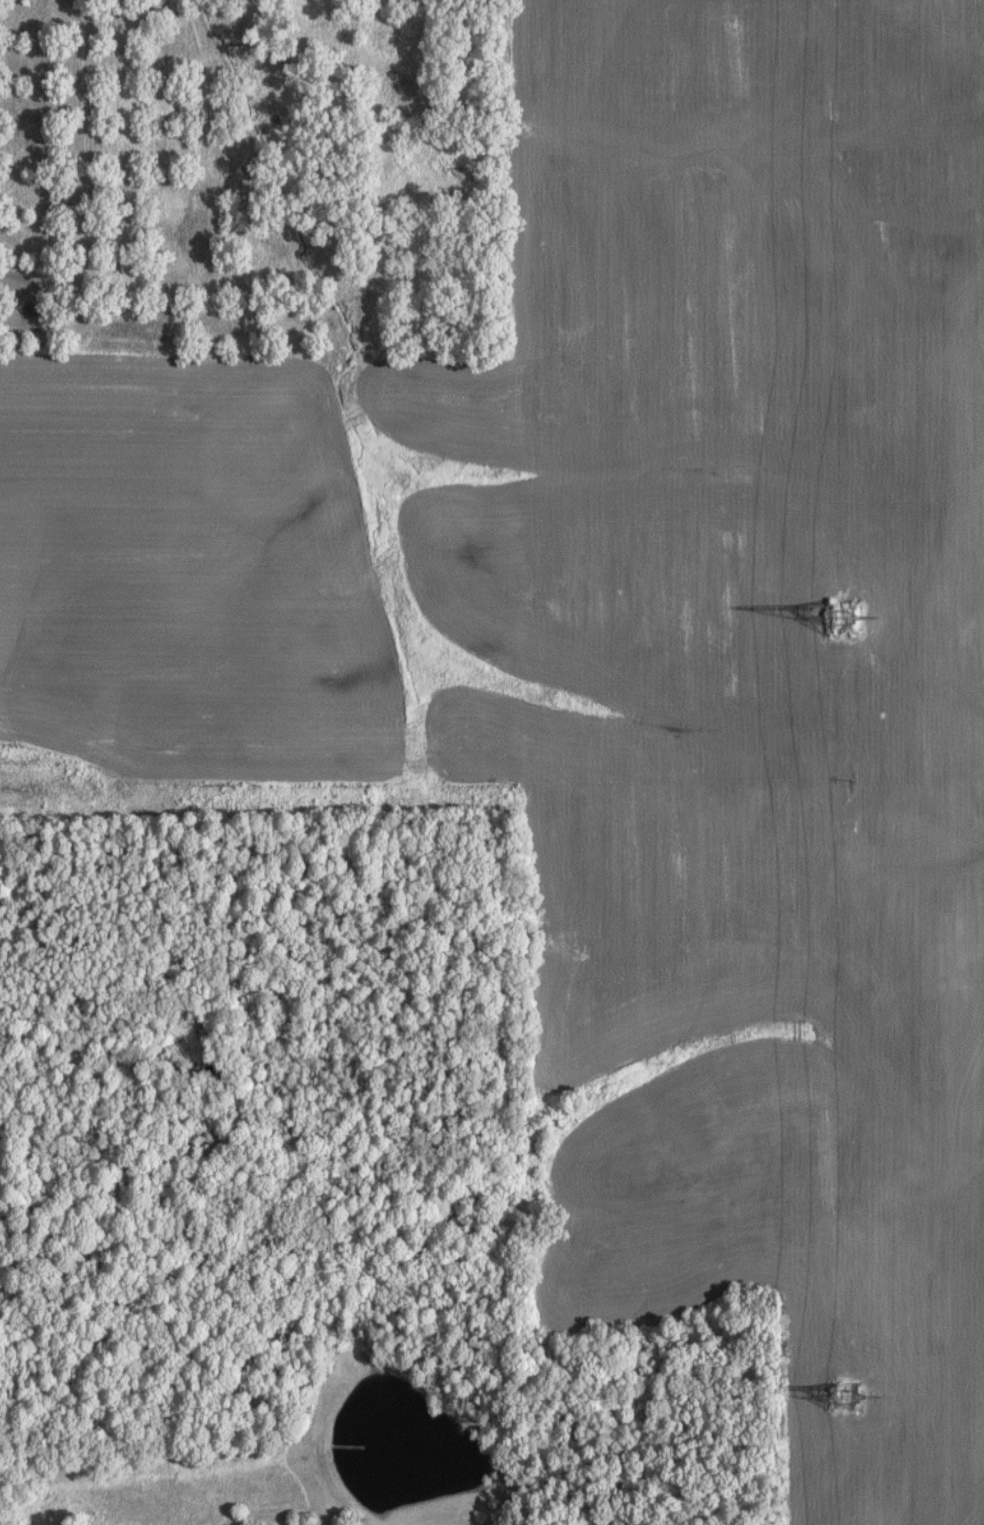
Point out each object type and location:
power tower: (840, 619)
power tower: (841, 1397)

